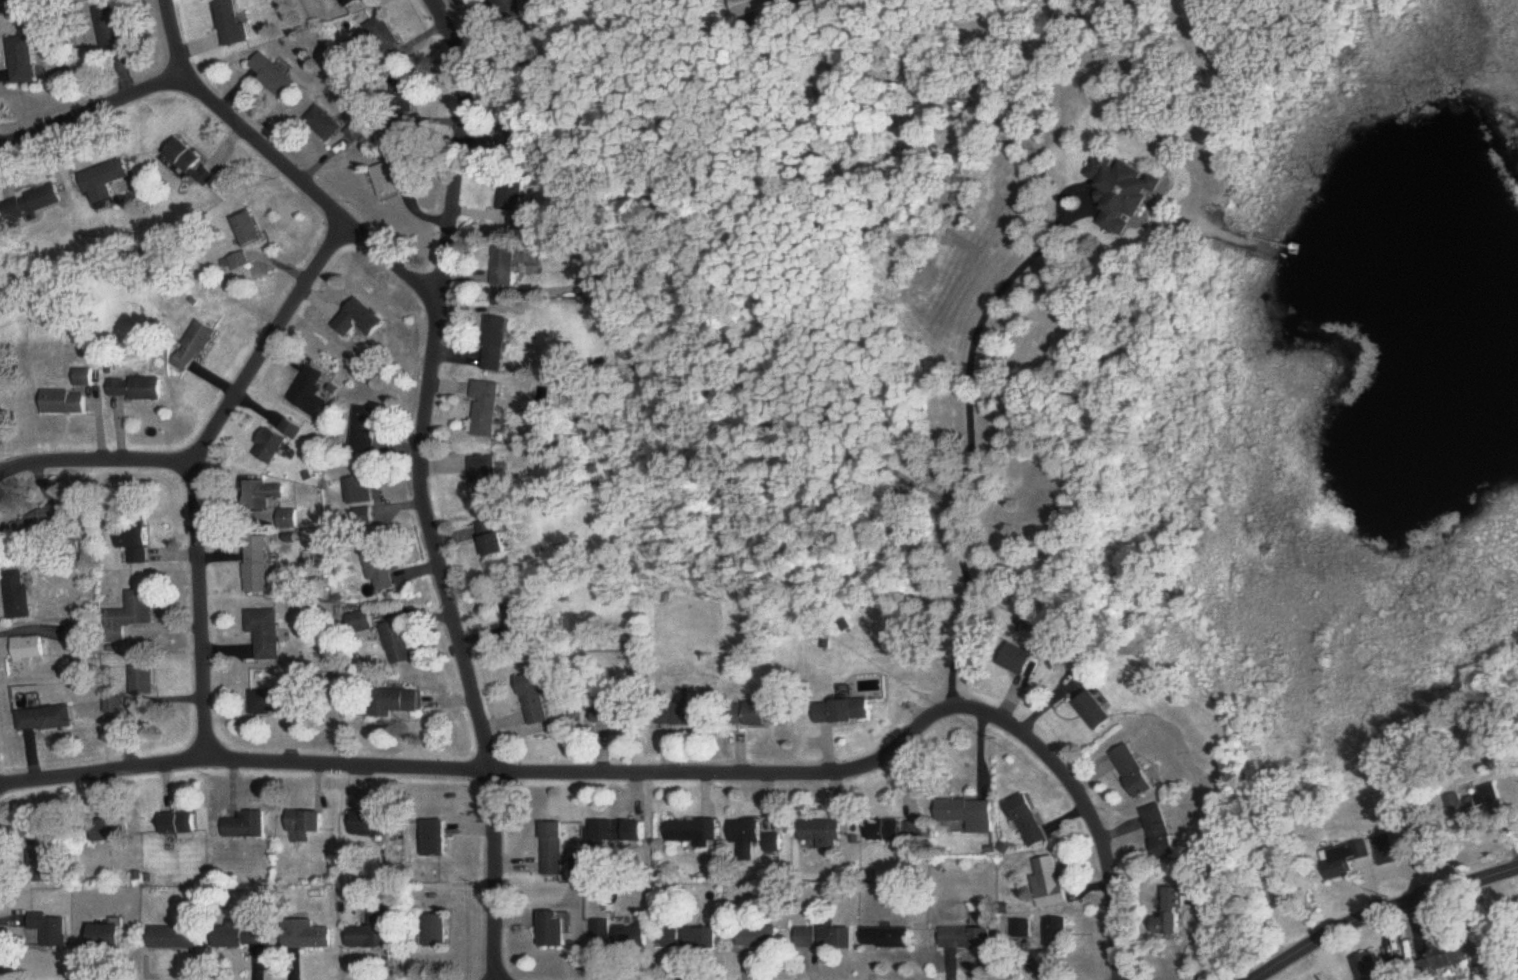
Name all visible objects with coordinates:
building: (350, 3)
building: (756, 6)
building: (510, 10)
building: (15, 11)
building: (232, 22)
building: (112, 29)
building: (384, 37)
building: (23, 60)
building: (274, 76)
building: (404, 97)
road: (88, 110)
building: (324, 124)
building: (355, 132)
building: (519, 136)
building: (192, 163)
road: (275, 166)
building: (389, 179)
building: (105, 181)
building: (1123, 192)
building: (514, 195)
building: (33, 203)
building: (248, 230)
building: (239, 262)
building: (506, 265)
building: (361, 314)
building: (496, 345)
building: (194, 348)
building: (84, 379)
building: (136, 389)
building: (310, 393)
building: (65, 403)
building: (488, 409)
building: (1, 416)
building: (364, 430)
building: (277, 442)
road: (969, 447)
road: (96, 463)
road: (195, 471)
building: (487, 481)
road: (421, 488)
building: (358, 491)
building: (260, 494)
building: (363, 518)
building: (288, 519)
building: (42, 524)
building: (495, 540)
building: (135, 543)
building: (256, 567)
building: (380, 572)
building: (18, 599)
building: (129, 616)
building: (359, 623)
building: (520, 623)
building: (264, 633)
building: (80, 634)
building: (398, 644)
building: (28, 650)
building: (1021, 661)
building: (142, 682)
building: (536, 700)
building: (275, 703)
building: (395, 703)
building: (1095, 712)
building: (842, 713)
building: (684, 714)
building: (765, 714)
building: (614, 716)
building: (44, 720)
road: (469, 766)
building: (1136, 772)
road: (1079, 795)
building: (1478, 804)
building: (968, 815)
building: (304, 822)
building: (1030, 822)
building: (175, 825)
building: (371, 825)
building: (244, 827)
building: (107, 830)
building: (620, 831)
building: (745, 831)
building: (894, 831)
building: (692, 832)
building: (1163, 832)
building: (821, 834)
building: (436, 839)
building: (1407, 841)
building: (771, 844)
building: (552, 849)
building: (1386, 850)
building: (40, 855)
building: (1345, 860)
building: (1051, 883)
building: (1177, 915)
road: (1384, 915)
building: (601, 929)
building: (49, 930)
building: (555, 930)
building: (1023, 930)
building: (379, 932)
building: (438, 932)
building: (1058, 934)
building: (106, 937)
building: (239, 937)
building: (631, 937)
building: (174, 938)
building: (309, 938)
building: (758, 938)
building: (825, 938)
building: (887, 938)
building: (690, 939)
building: (967, 939)
building: (1446, 957)
building: (1379, 969)

